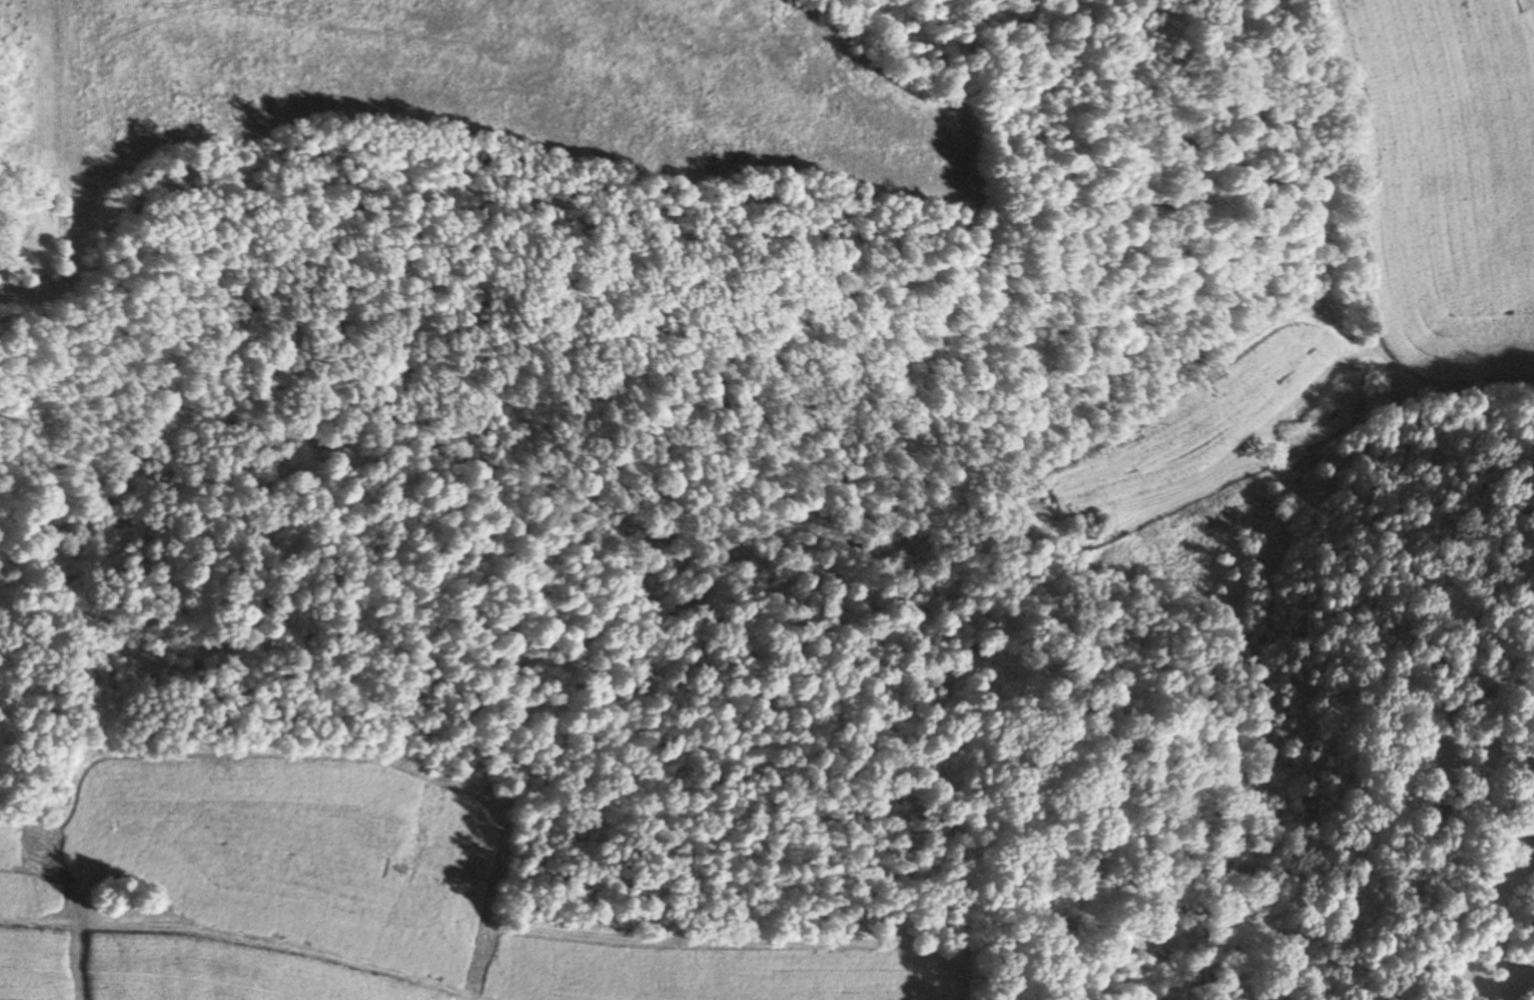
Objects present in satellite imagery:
crop: (518, 89)
crop: (28, 296)
crop: (34, 912)

